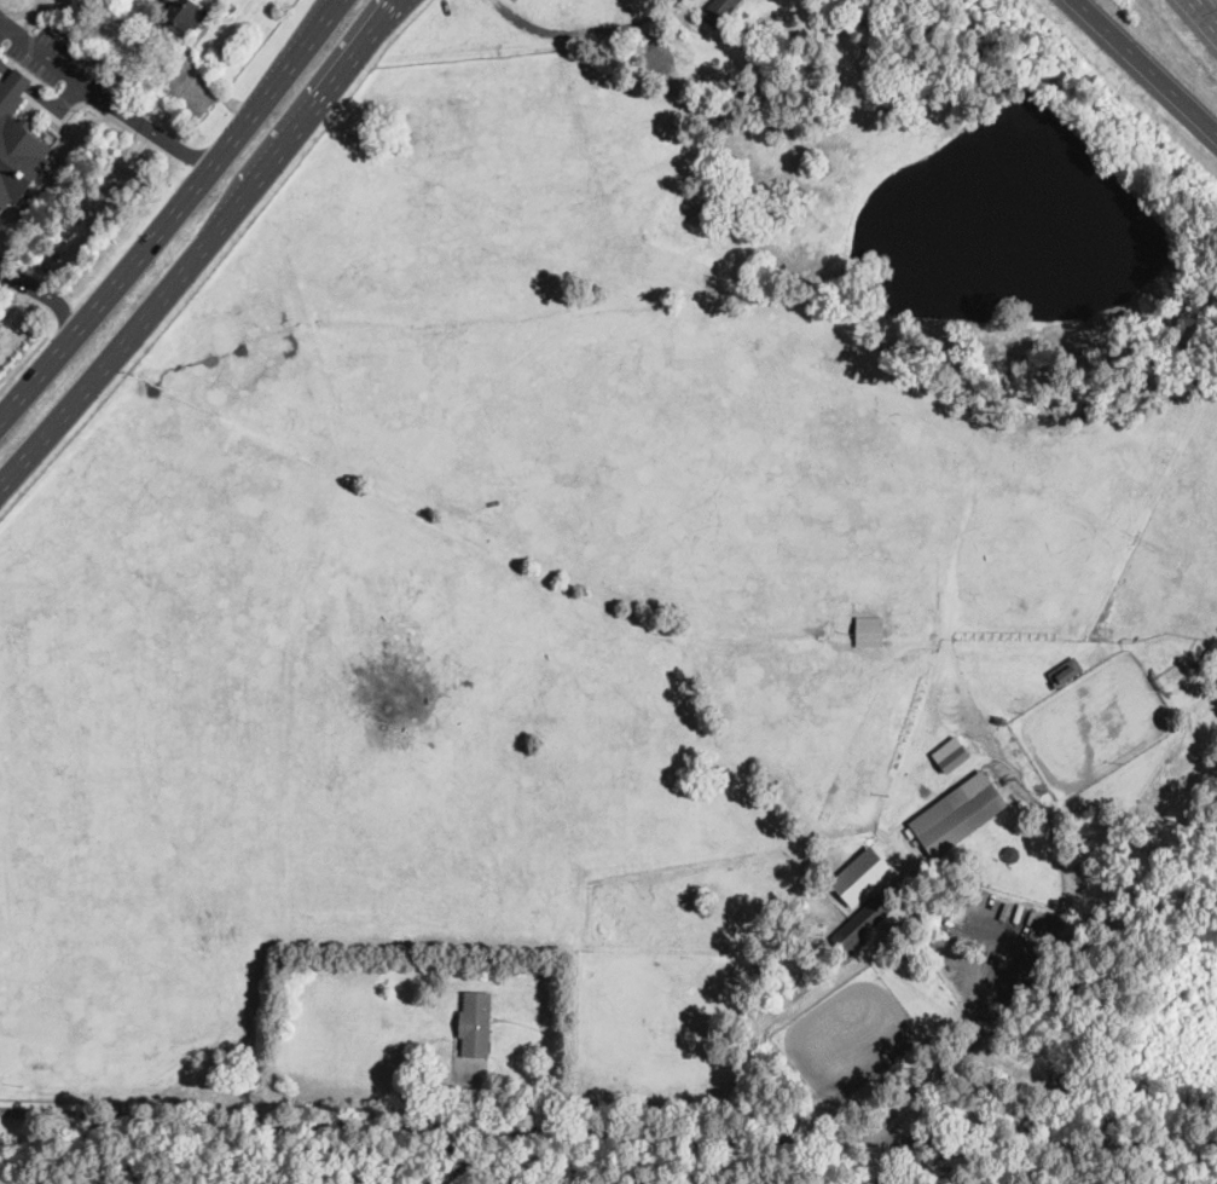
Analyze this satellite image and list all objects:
road: (1210, 7)
building: (718, 12)
building: (185, 17)
road: (4, 29)
road: (583, 31)
building: (870, 31)
road: (45, 56)
road: (1147, 64)
road: (41, 96)
road: (149, 129)
building: (18, 141)
road: (168, 215)
road: (207, 248)
road: (45, 294)
road: (24, 359)
building: (870, 631)
building: (1066, 671)
building: (955, 760)
building: (958, 813)
building: (1091, 820)
building: (1012, 853)
building: (862, 876)
building: (863, 923)
building: (476, 1024)
road: (709, 1138)

